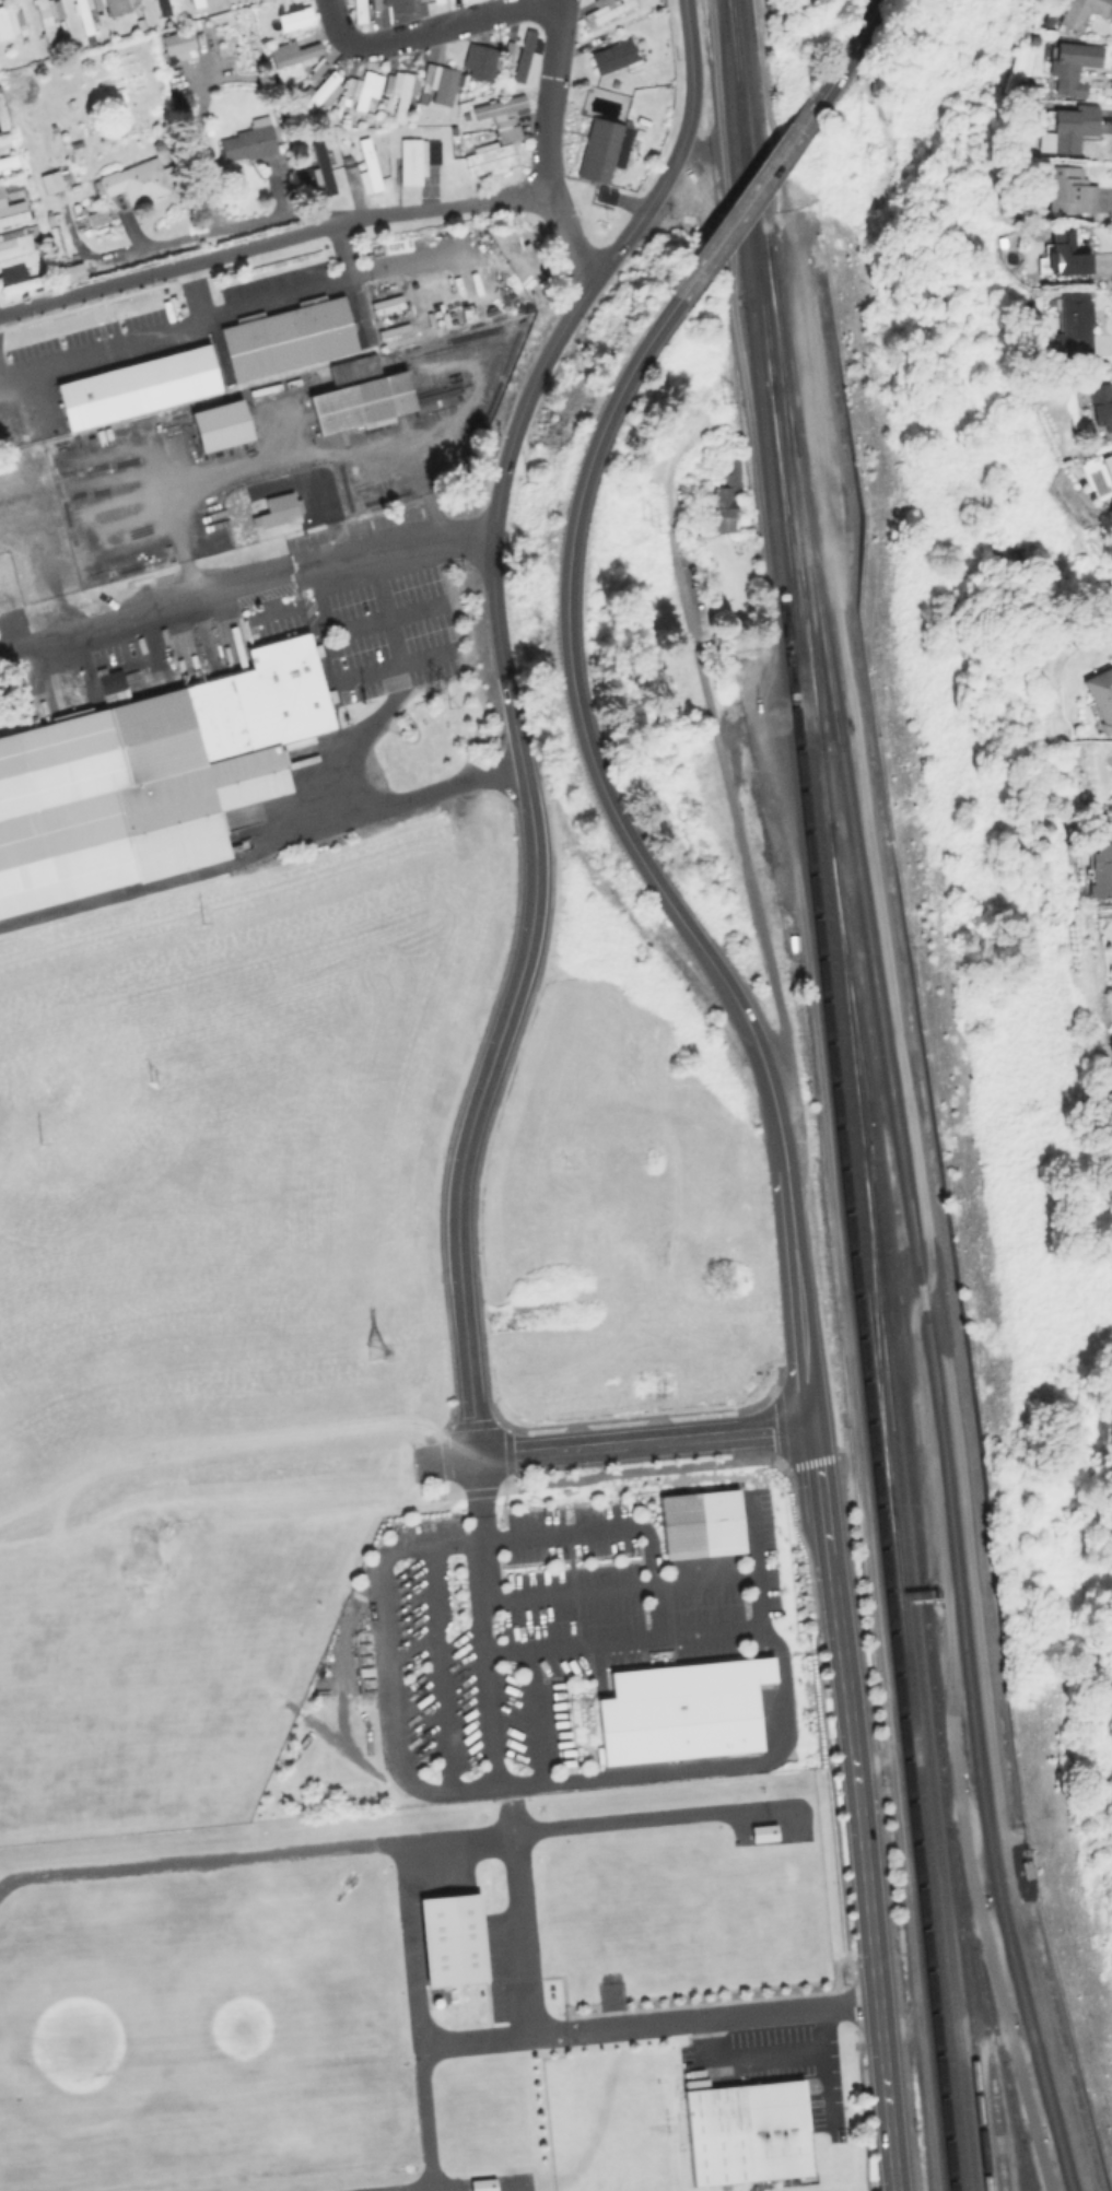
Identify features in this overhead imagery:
building: (428, 0)
building: (196, 2)
building: (96, 3)
building: (375, 4)
building: (398, 4)
building: (116, 5)
building: (163, 7)
building: (359, 10)
building: (605, 10)
building: (1078, 11)
building: (82, 13)
building: (47, 15)
building: (294, 16)
building: (7, 21)
road: (434, 28)
building: (176, 40)
building: (293, 51)
building: (525, 52)
road: (850, 54)
building: (612, 55)
building: (483, 58)
building: (1070, 63)
building: (438, 82)
building: (365, 86)
building: (400, 87)
building: (319, 91)
building: (184, 98)
building: (503, 114)
building: (1066, 128)
building: (248, 140)
road: (549, 143)
building: (602, 148)
building: (415, 157)
building: (489, 157)
building: (7, 161)
building: (368, 163)
building: (319, 167)
building: (136, 179)
building: (49, 180)
building: (1067, 188)
railway: (749, 189)
building: (1, 191)
building: (605, 194)
road: (745, 200)
building: (12, 210)
building: (95, 215)
building: (54, 232)
building: (14, 241)
road: (272, 241)
road: (342, 248)
building: (1063, 251)
road: (409, 260)
building: (67, 270)
building: (17, 278)
road: (195, 292)
building: (1073, 321)
road: (174, 330)
building: (288, 336)
road: (543, 363)
railway: (779, 373)
building: (137, 386)
building: (360, 395)
power tower: (725, 402)
building: (1100, 403)
building: (219, 424)
building: (1107, 466)
building: (723, 499)
building: (278, 509)
power tower: (648, 524)
railway: (794, 562)
building: (713, 565)
road: (246, 589)
road: (353, 626)
road: (391, 663)
building: (109, 680)
road: (567, 686)
building: (1099, 694)
power tower: (440, 698)
road: (707, 731)
road: (347, 755)
building: (148, 783)
road: (315, 827)
building: (1100, 868)
building: (792, 942)
railway: (830, 945)
railway: (841, 945)
power tower: (152, 1086)
railway: (833, 1095)
road: (908, 1099)
road: (477, 1103)
railway: (911, 1219)
road: (792, 1238)
railway: (876, 1327)
power tower: (386, 1354)
road: (645, 1441)
road: (444, 1460)
road: (478, 1486)
railway: (914, 1507)
building: (698, 1521)
road: (590, 1528)
road: (703, 1579)
road: (566, 1591)
road: (388, 1663)
railway: (920, 1667)
road: (437, 1669)
building: (680, 1708)
road: (629, 1776)
road: (858, 1807)
building: (760, 1831)
railway: (926, 1850)
building: (448, 1935)
railway: (992, 2012)
road: (722, 2023)
road: (988, 2038)
road: (749, 2054)
road: (441, 2062)
railway: (990, 2069)
road: (824, 2074)
road: (1005, 2113)
road: (987, 2114)
railway: (1014, 2125)
building: (745, 2130)
road: (999, 2141)
railway: (1027, 2166)
building: (481, 2184)

